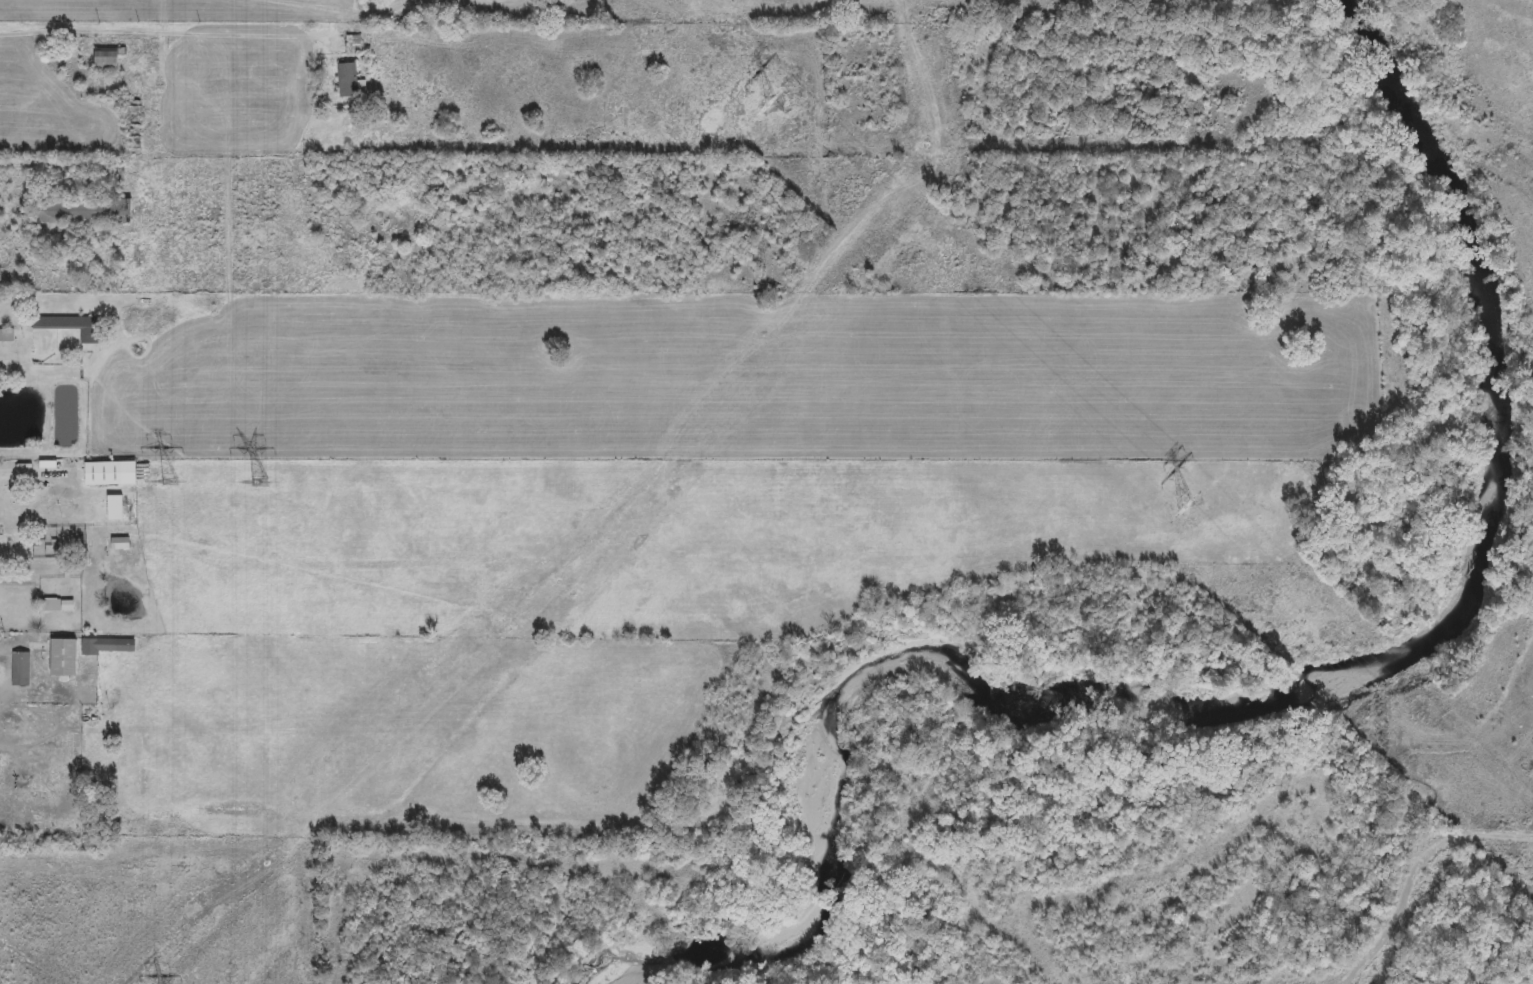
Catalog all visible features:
road: (324, 4)
road: (152, 21)
building: (105, 60)
building: (347, 80)
power tower: (770, 106)
building: (81, 209)
building: (6, 334)
power tower: (172, 481)
power tower: (263, 482)
power tower: (1190, 509)
building: (119, 542)
building: (107, 645)
building: (63, 657)
building: (20, 668)

